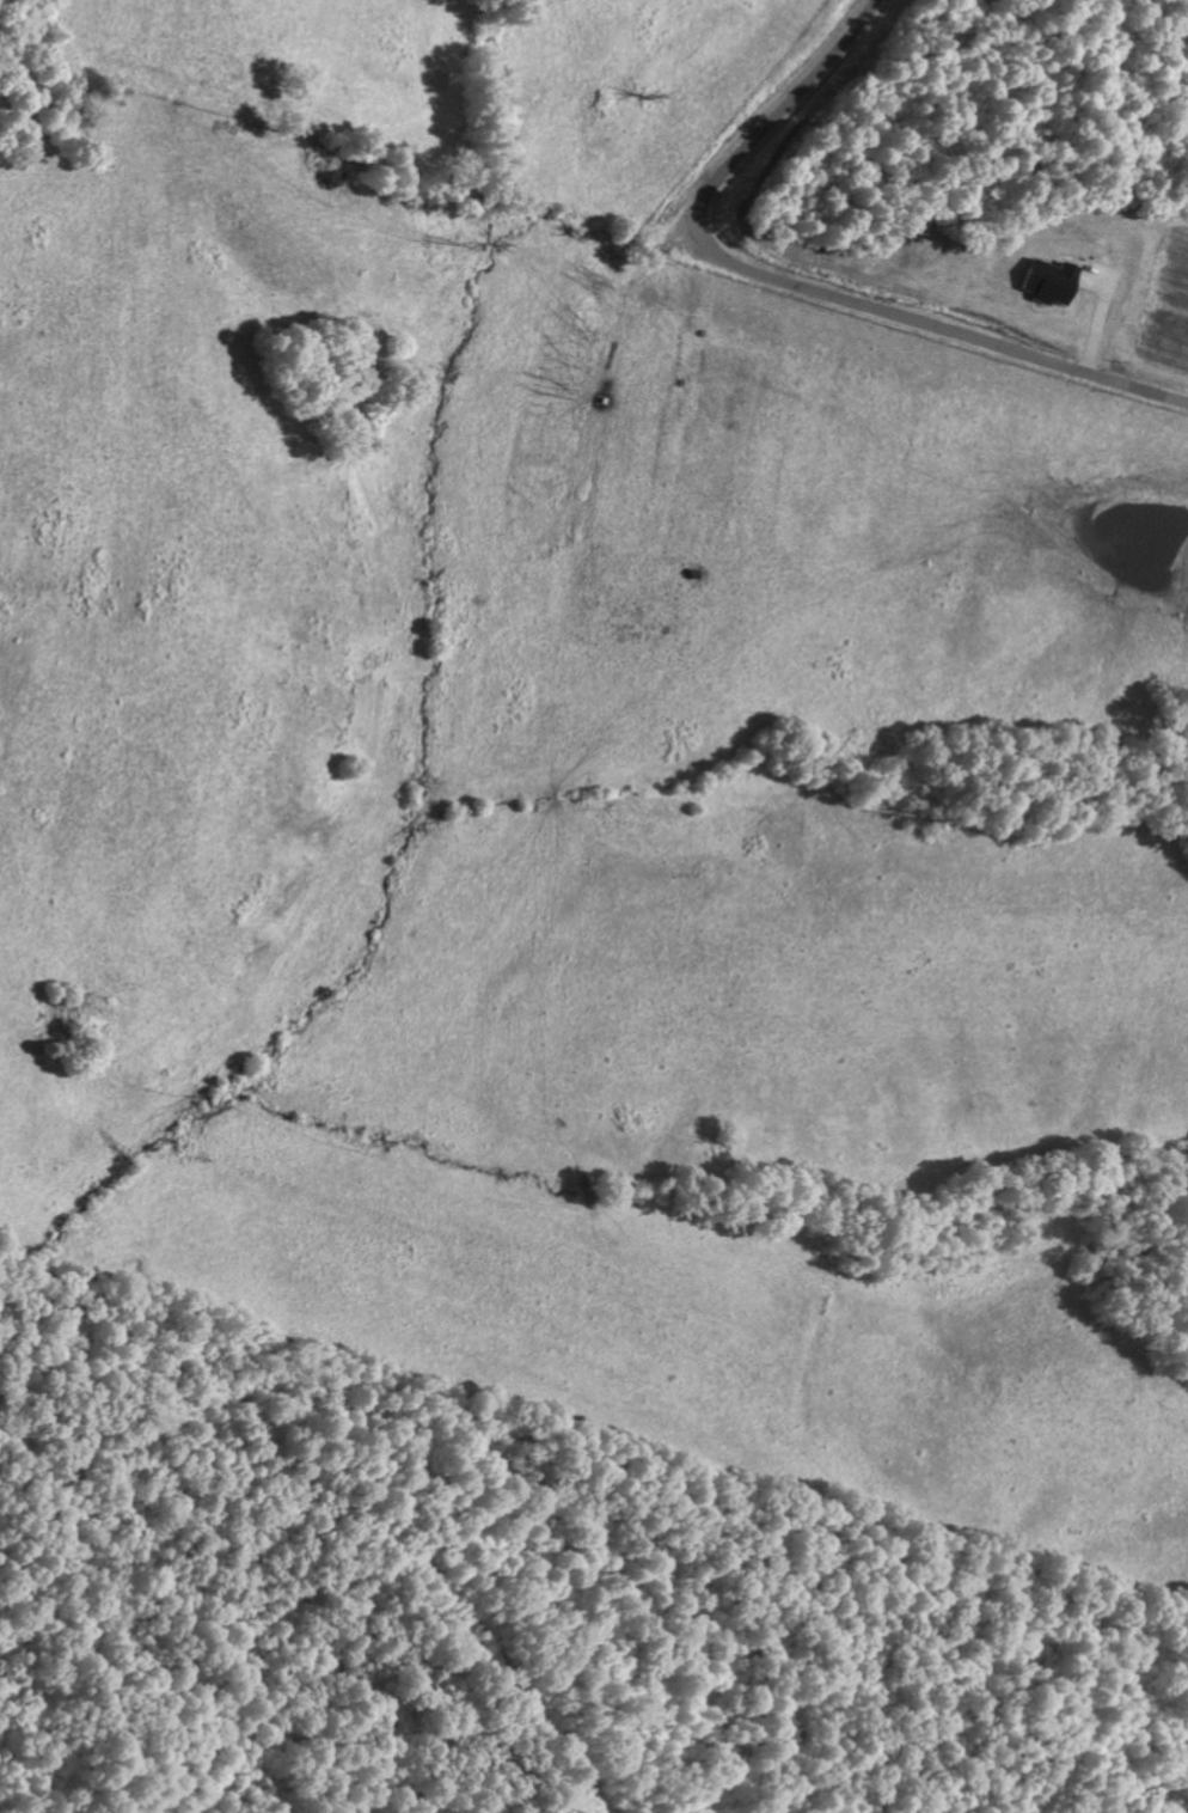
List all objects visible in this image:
building: (1052, 281)
road: (796, 285)

